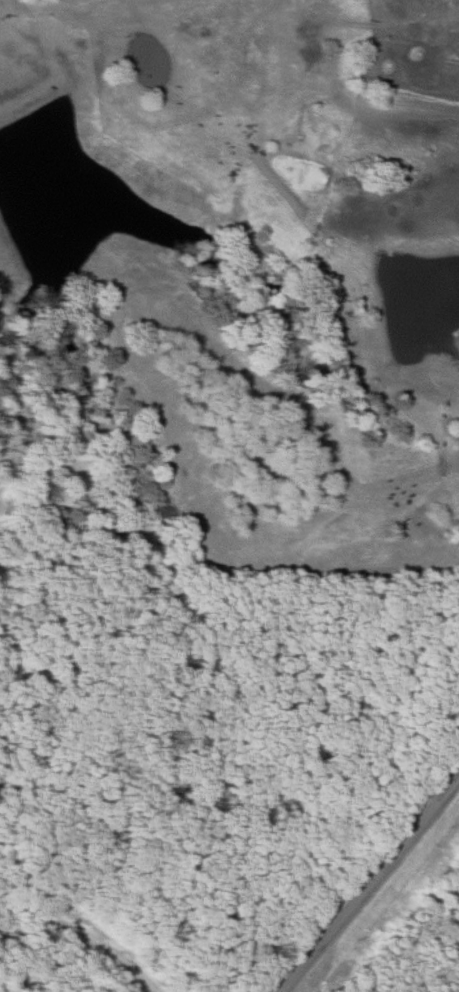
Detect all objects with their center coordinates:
road: (367, 884)
road: (88, 950)

